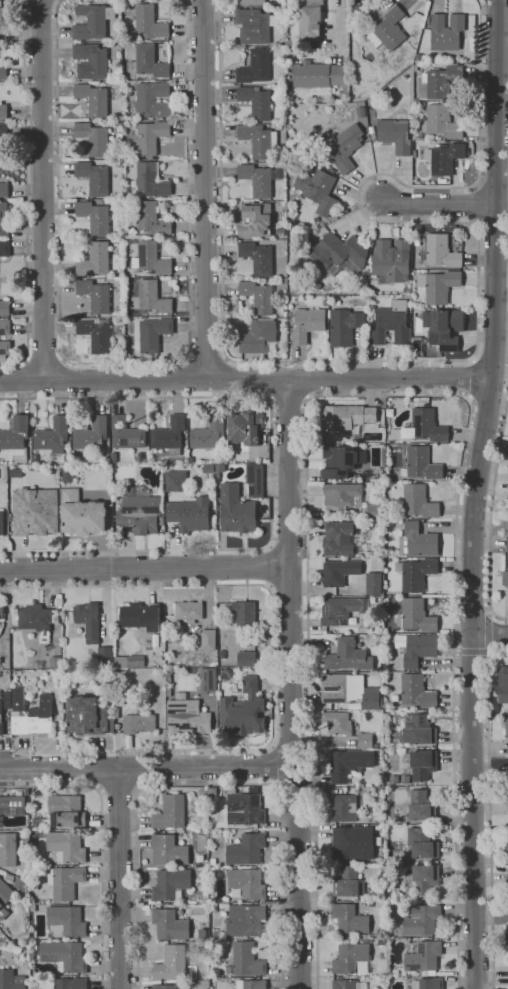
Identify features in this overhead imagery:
road: (41, 0)
building: (374, 1)
building: (252, 2)
building: (4, 16)
building: (310, 19)
building: (93, 21)
road: (341, 21)
building: (150, 22)
building: (255, 26)
building: (389, 29)
building: (446, 32)
building: (290, 44)
building: (92, 61)
building: (148, 62)
building: (255, 67)
building: (3, 72)
building: (318, 75)
building: (442, 81)
building: (95, 98)
building: (152, 100)
building: (257, 102)
building: (4, 111)
building: (442, 121)
building: (4, 131)
building: (114, 132)
building: (372, 133)
building: (396, 135)
building: (93, 138)
building: (149, 138)
building: (259, 140)
building: (346, 147)
building: (443, 157)
building: (94, 178)
building: (259, 179)
building: (152, 181)
road: (491, 183)
road: (205, 188)
road: (43, 189)
building: (4, 190)
building: (319, 191)
road: (25, 192)
road: (438, 204)
building: (95, 217)
building: (1, 220)
building: (150, 220)
building: (256, 220)
road: (492, 224)
building: (5, 249)
building: (437, 250)
building: (338, 254)
building: (258, 258)
building: (151, 259)
building: (95, 260)
building: (392, 261)
building: (439, 285)
building: (96, 295)
building: (258, 296)
building: (153, 297)
building: (5, 307)
building: (308, 324)
building: (392, 324)
building: (344, 326)
building: (5, 327)
building: (444, 328)
building: (97, 334)
building: (153, 334)
building: (259, 336)
building: (5, 347)
building: (416, 348)
road: (207, 357)
road: (45, 359)
road: (462, 359)
road: (491, 359)
road: (126, 362)
road: (225, 377)
road: (268, 377)
road: (62, 378)
road: (190, 378)
road: (472, 378)
road: (22, 380)
road: (271, 380)
road: (305, 381)
road: (390, 395)
road: (289, 401)
road: (488, 401)
building: (390, 412)
building: (370, 415)
building: (341, 417)
building: (422, 427)
building: (245, 428)
building: (127, 433)
building: (169, 433)
building: (210, 433)
building: (92, 434)
building: (53, 436)
building: (16, 438)
building: (140, 457)
building: (342, 457)
building: (35, 458)
building: (67, 459)
building: (421, 464)
building: (220, 469)
road: (273, 474)
building: (255, 480)
building: (175, 481)
road: (476, 493)
building: (343, 494)
building: (419, 501)
road: (493, 509)
building: (236, 510)
building: (35, 511)
building: (140, 511)
building: (375, 511)
building: (82, 514)
building: (190, 514)
building: (1, 523)
building: (340, 539)
building: (418, 541)
building: (507, 543)
road: (289, 546)
road: (267, 565)
road: (144, 567)
building: (340, 572)
building: (417, 574)
building: (505, 578)
building: (374, 583)
road: (165, 586)
road: (290, 591)
building: (342, 609)
building: (1, 611)
building: (189, 611)
building: (245, 614)
building: (417, 615)
building: (140, 616)
building: (38, 620)
building: (89, 621)
road: (489, 635)
building: (209, 639)
building: (248, 640)
building: (417, 648)
building: (105, 653)
building: (222, 654)
building: (349, 656)
building: (246, 659)
building: (136, 661)
building: (55, 662)
building: (120, 662)
building: (38, 664)
building: (169, 671)
building: (118, 673)
building: (208, 679)
road: (291, 683)
building: (349, 690)
building: (417, 691)
building: (505, 692)
building: (117, 703)
building: (149, 706)
building: (243, 710)
building: (88, 716)
building: (38, 717)
building: (187, 717)
building: (1, 720)
building: (338, 722)
building: (140, 724)
building: (506, 727)
building: (418, 730)
building: (365, 740)
building: (129, 742)
building: (349, 764)
building: (423, 764)
road: (145, 767)
building: (405, 779)
building: (506, 783)
road: (209, 784)
road: (297, 788)
road: (118, 789)
building: (203, 791)
building: (506, 804)
building: (422, 806)
building: (11, 807)
building: (244, 808)
building: (344, 808)
building: (195, 810)
building: (67, 811)
building: (171, 812)
road: (492, 813)
road: (102, 839)
building: (353, 843)
building: (422, 843)
building: (506, 845)
building: (67, 846)
building: (247, 849)
building: (8, 850)
building: (169, 850)
building: (200, 858)
building: (213, 862)
building: (9, 877)
road: (120, 878)
building: (423, 879)
building: (348, 881)
building: (507, 881)
building: (21, 882)
building: (66, 882)
building: (171, 884)
building: (247, 884)
building: (5, 893)
building: (33, 907)
building: (350, 919)
building: (422, 920)
building: (246, 921)
building: (66, 922)
building: (170, 924)
building: (507, 933)
building: (367, 940)
building: (64, 955)
building: (424, 956)
building: (352, 958)
building: (247, 959)
building: (172, 962)
building: (230, 969)
building: (11, 980)
building: (66, 983)
building: (428, 983)
building: (252, 984)
building: (349, 984)
building: (163, 986)

